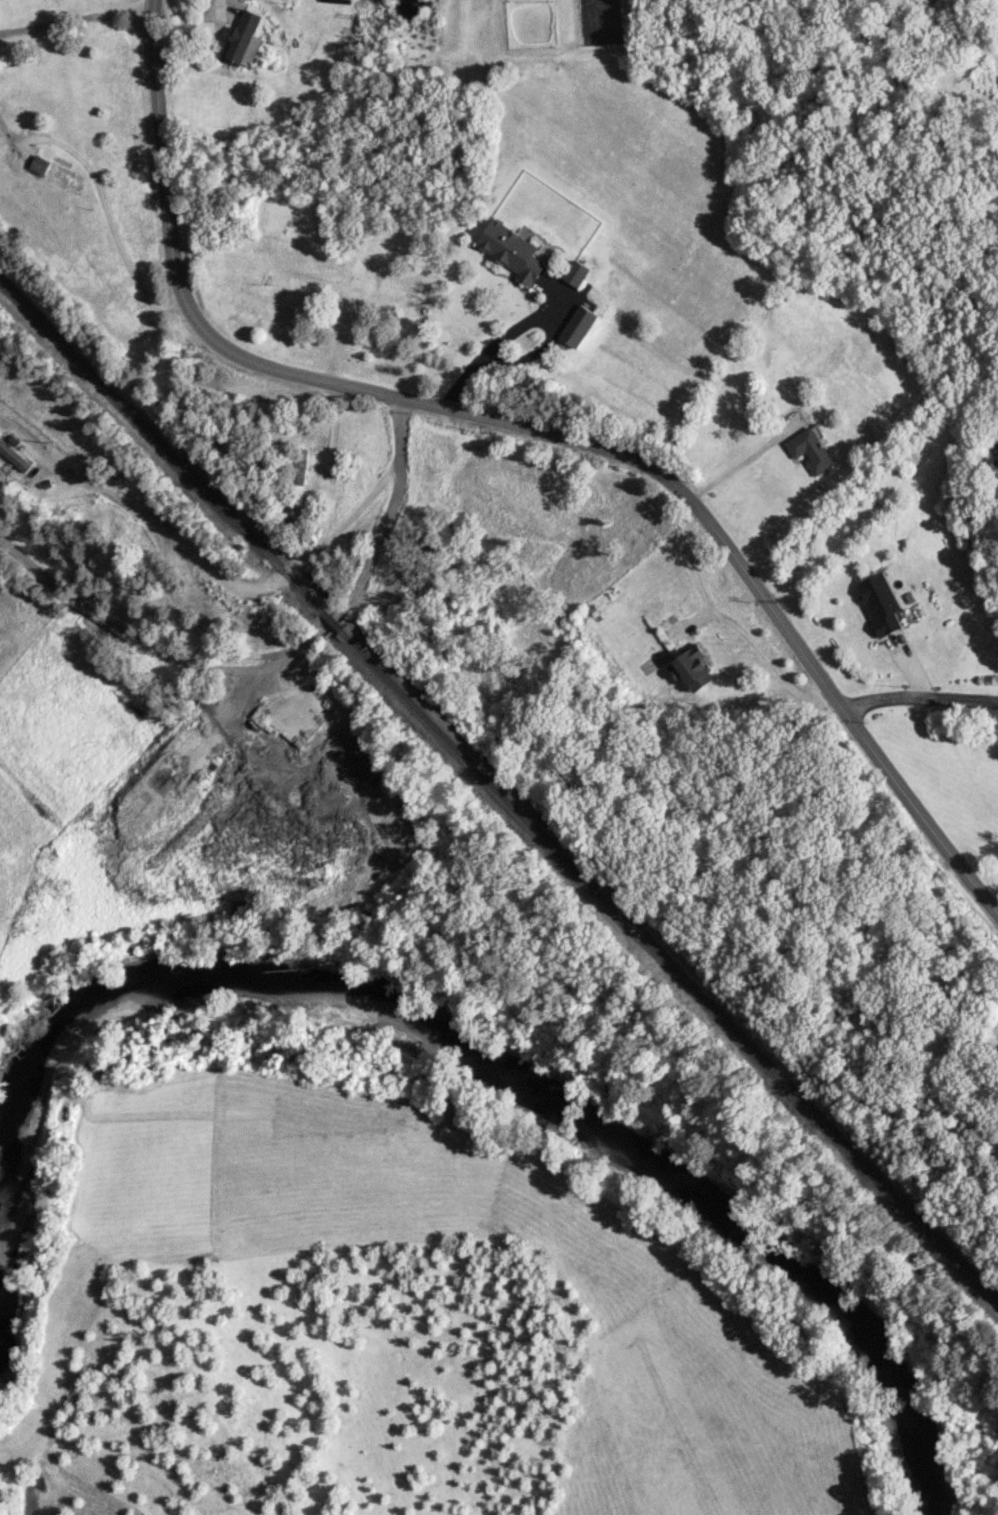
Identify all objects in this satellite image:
road: (220, 9)
road: (76, 17)
building: (243, 37)
park: (15, 53)
building: (39, 165)
road: (109, 218)
building: (511, 251)
building: (575, 273)
building: (576, 326)
road: (488, 349)
road: (533, 431)
railway: (158, 448)
building: (809, 451)
building: (13, 457)
road: (739, 463)
building: (300, 467)
road: (381, 531)
road: (206, 560)
building: (879, 603)
railway: (328, 622)
road: (730, 624)
road: (145, 641)
building: (692, 668)
road: (917, 697)
railway: (668, 969)
park: (389, 1334)

